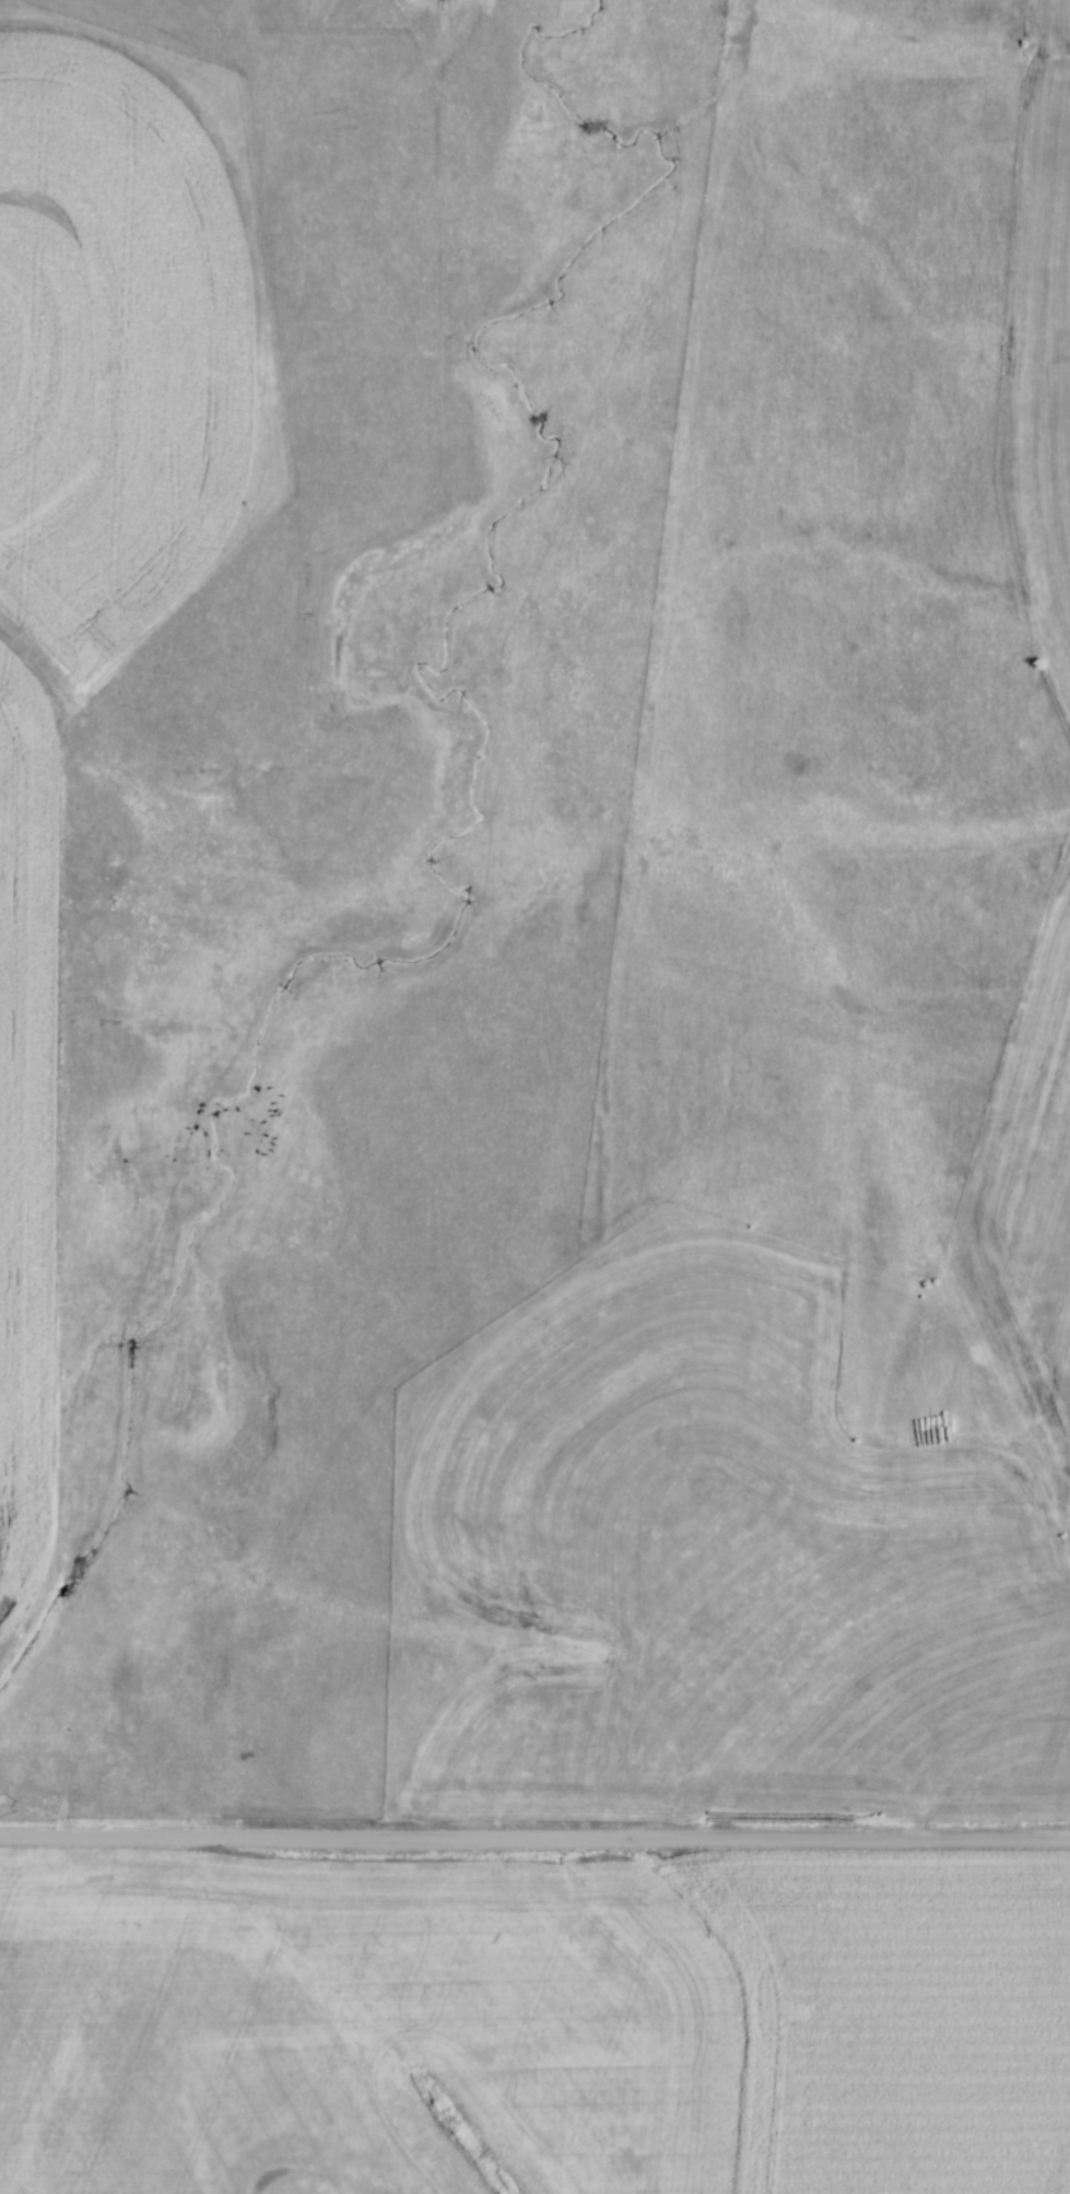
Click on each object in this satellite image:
road: (534, 1840)

